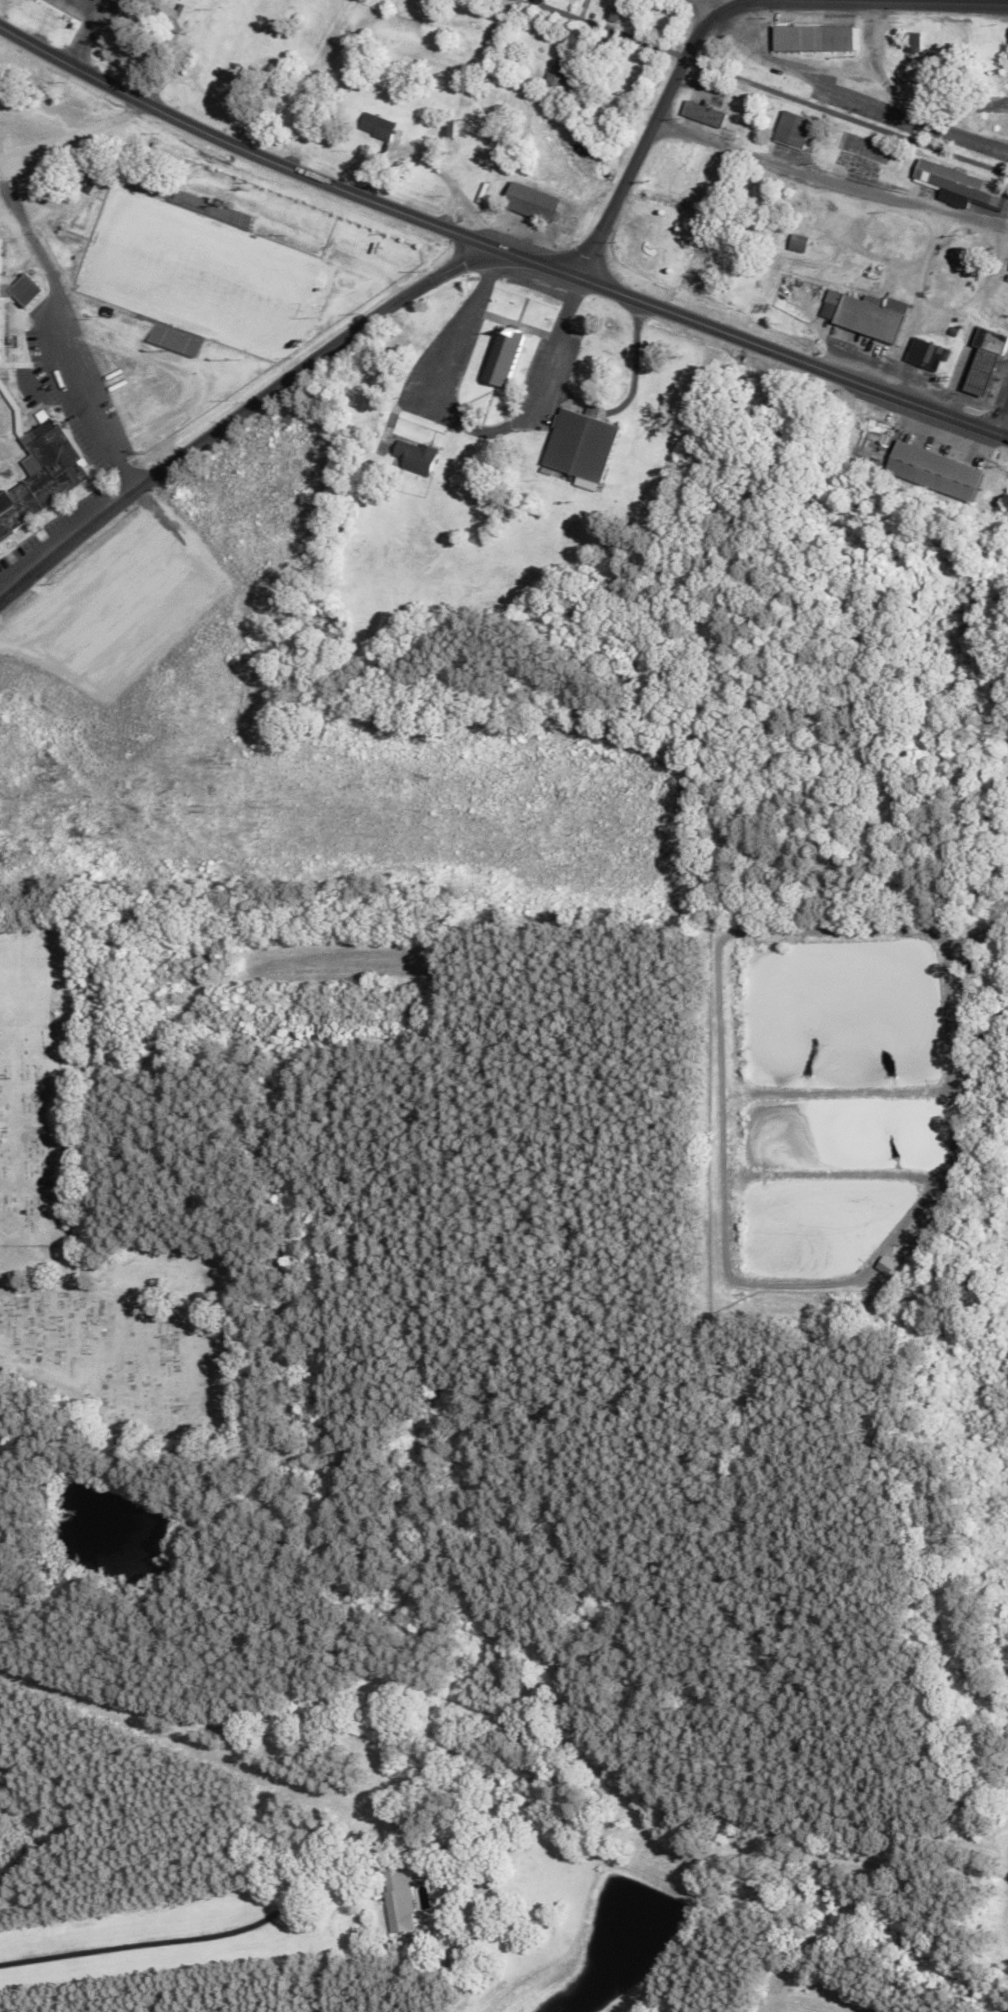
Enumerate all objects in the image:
road: (880, 0)
building: (205, 2)
building: (166, 21)
building: (837, 36)
building: (798, 37)
road: (692, 42)
building: (911, 43)
building: (1004, 64)
building: (555, 74)
road: (767, 87)
building: (990, 103)
road: (664, 104)
road: (903, 104)
building: (704, 112)
building: (377, 125)
building: (448, 126)
building: (793, 127)
building: (86, 179)
road: (830, 181)
building: (958, 181)
road: (615, 198)
building: (531, 201)
building: (211, 209)
building: (798, 243)
road: (497, 246)
park: (199, 271)
road: (487, 275)
building: (17, 288)
road: (568, 301)
building: (831, 303)
building: (868, 317)
building: (989, 338)
building: (924, 353)
building: (504, 354)
parking lot: (440, 367)
building: (981, 370)
parking lot: (547, 378)
road: (238, 415)
road: (991, 416)
road: (1004, 422)
road: (471, 426)
building: (581, 442)
building: (415, 456)
building: (934, 470)
building: (44, 474)
building: (5, 501)
building: (400, 1896)

